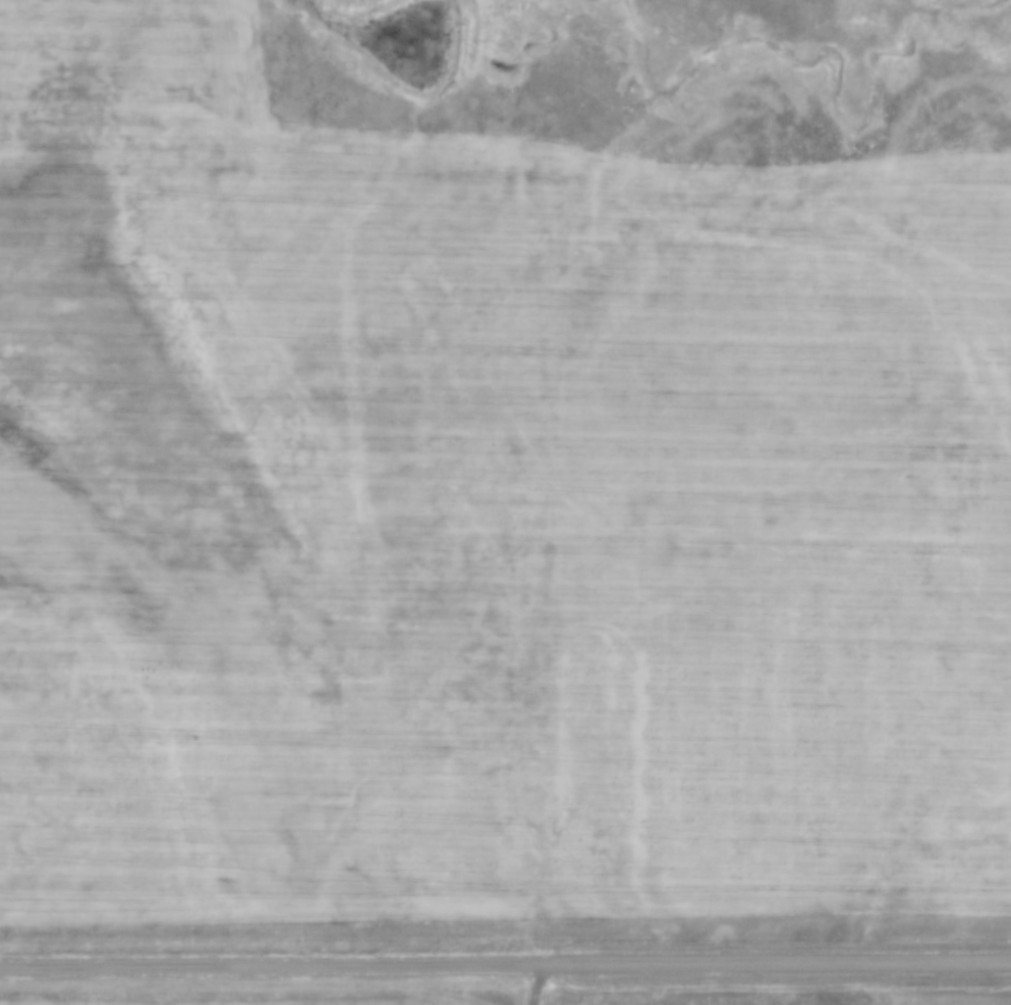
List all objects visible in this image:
road: (505, 964)
road: (549, 984)

